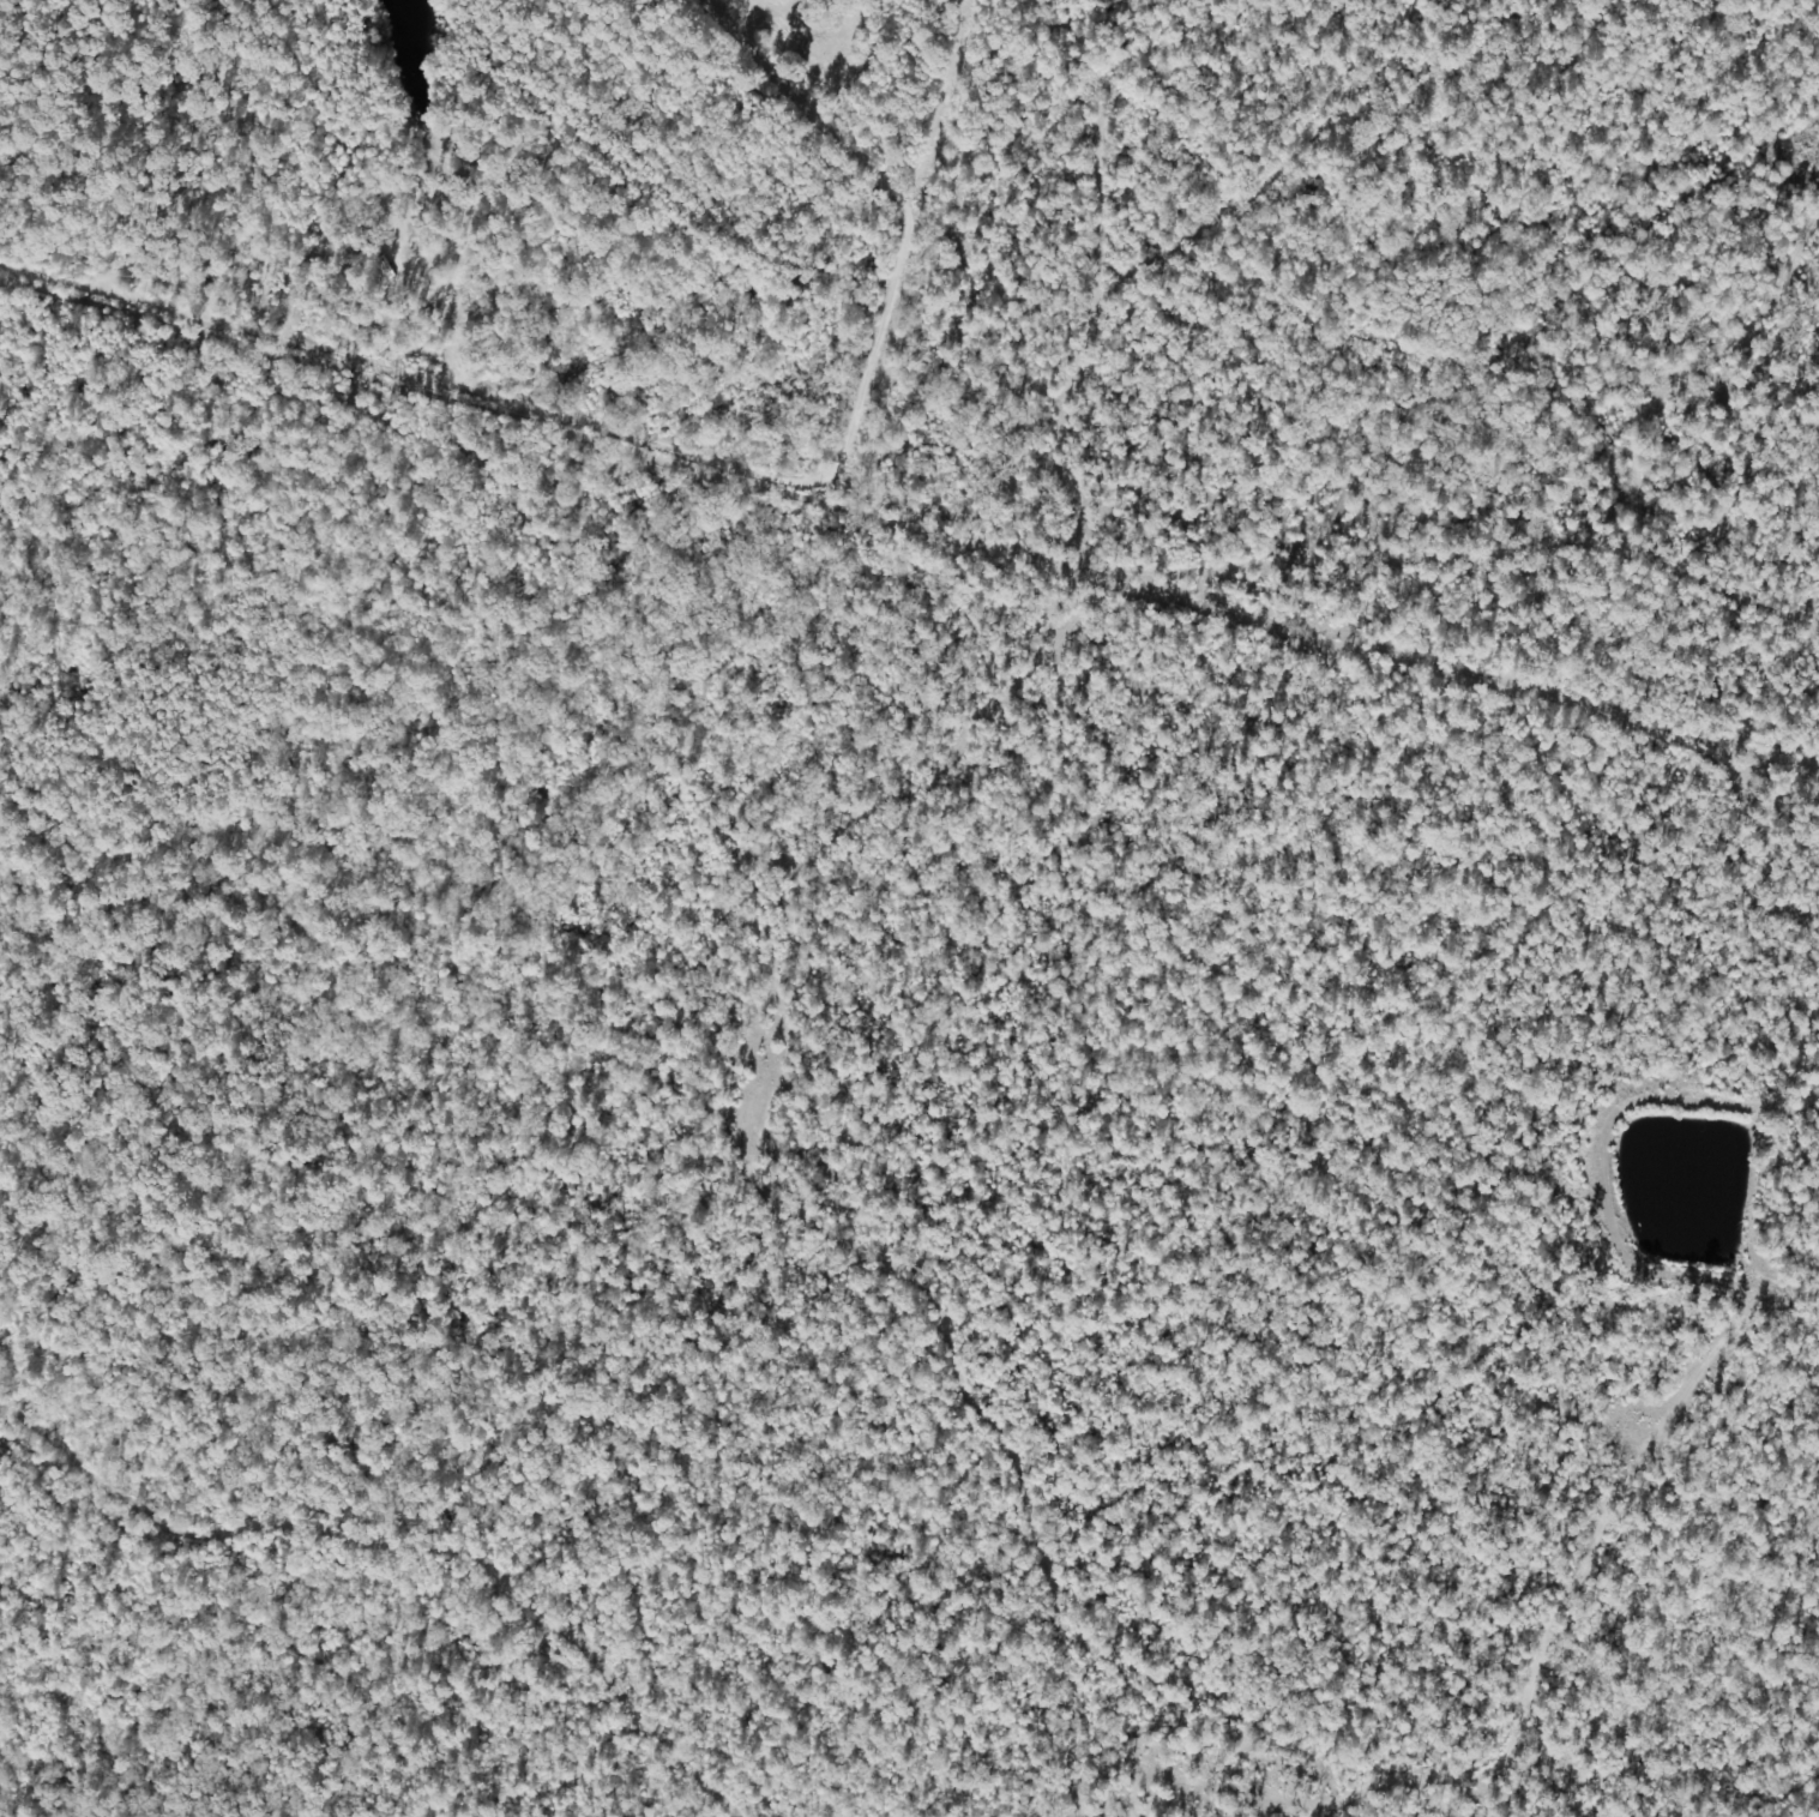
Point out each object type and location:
road: (1818, 0)
road: (911, 78)
road: (547, 397)

